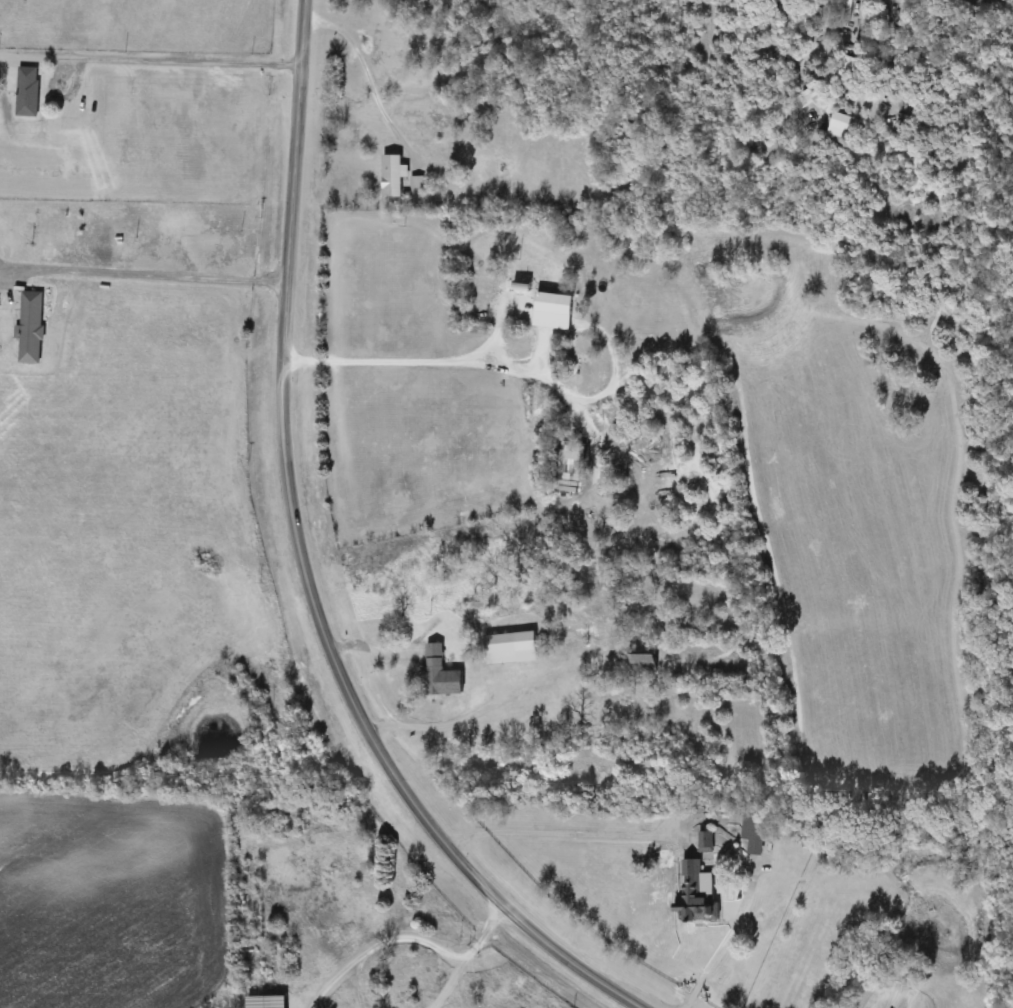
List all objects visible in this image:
road: (791, 27)
road: (164, 60)
road: (360, 75)
building: (24, 90)
building: (813, 91)
building: (838, 130)
building: (394, 176)
road: (145, 277)
building: (523, 286)
building: (556, 303)
building: (31, 328)
road: (427, 360)
road: (308, 568)
building: (513, 648)
building: (646, 658)
building: (441, 674)
road: (448, 722)
road: (551, 831)
building: (757, 833)
building: (707, 842)
building: (695, 894)
road: (414, 938)
road: (715, 960)
road: (359, 985)
building: (268, 1002)

